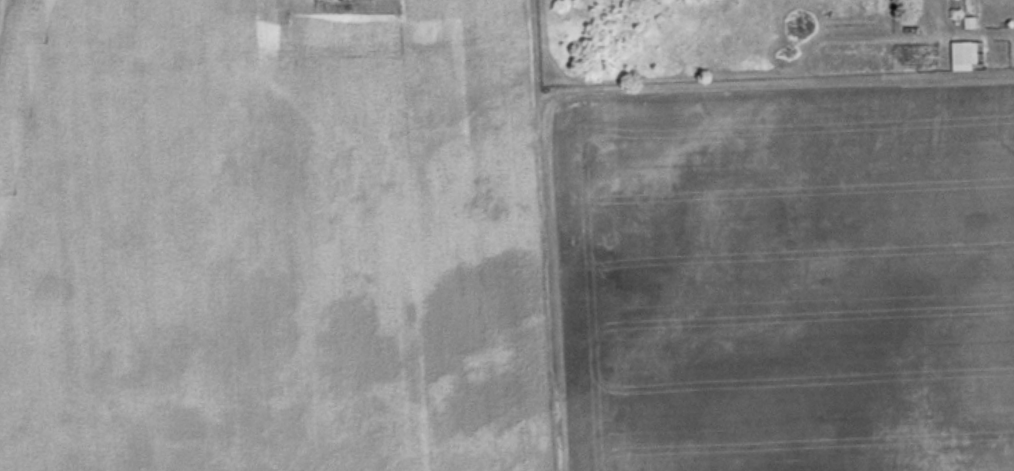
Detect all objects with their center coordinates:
building: (963, 53)

